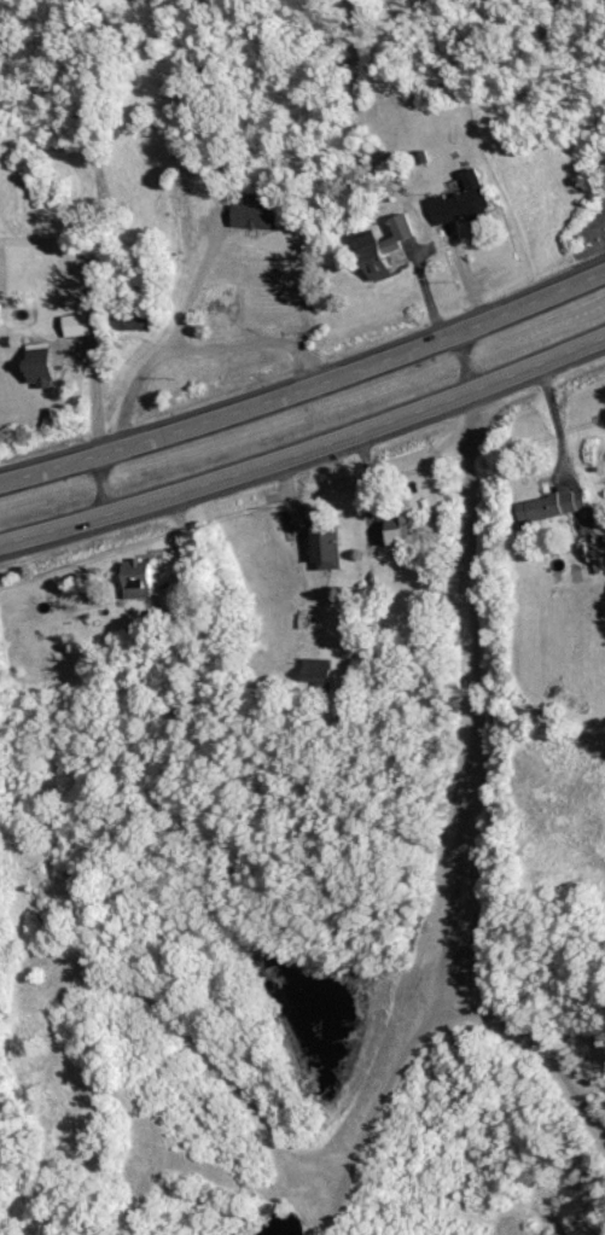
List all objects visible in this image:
building: (466, 199)
building: (262, 216)
building: (391, 245)
road: (458, 269)
building: (83, 325)
road: (256, 343)
road: (164, 350)
building: (47, 363)
road: (306, 392)
road: (307, 458)
road: (101, 488)
building: (558, 505)
building: (406, 530)
building: (333, 547)
building: (147, 579)
building: (324, 670)
road: (459, 796)

